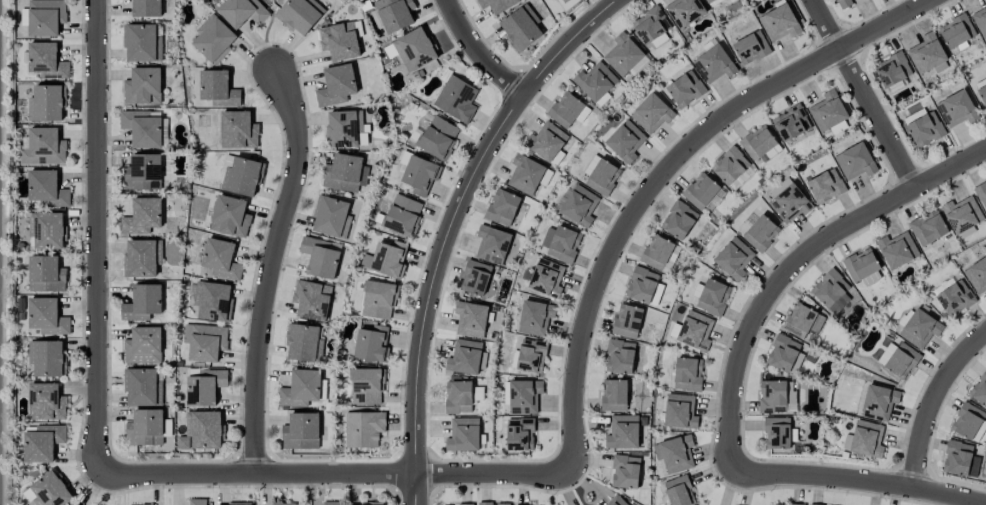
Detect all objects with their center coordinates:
building: (565, 1)
building: (709, 1)
building: (985, 1)
building: (844, 3)
building: (497, 5)
building: (146, 8)
building: (242, 12)
building: (684, 12)
building: (300, 14)
building: (394, 14)
building: (45, 17)
building: (980, 21)
building: (779, 23)
building: (652, 27)
building: (522, 28)
building: (956, 31)
building: (213, 39)
building: (339, 41)
building: (142, 43)
building: (751, 47)
building: (414, 50)
road: (479, 51)
building: (926, 53)
building: (623, 54)
building: (46, 61)
building: (714, 64)
building: (892, 69)
building: (595, 81)
building: (336, 85)
building: (143, 86)
building: (218, 89)
building: (685, 89)
road: (867, 94)
building: (982, 94)
building: (456, 99)
building: (47, 103)
building: (957, 109)
building: (567, 110)
building: (827, 111)
building: (651, 113)
building: (791, 123)
building: (924, 127)
building: (142, 128)
building: (344, 129)
building: (238, 130)
building: (438, 137)
building: (625, 141)
building: (758, 142)
building: (547, 143)
building: (43, 147)
building: (404, 161)
building: (855, 162)
building: (730, 166)
road: (663, 172)
building: (143, 173)
building: (344, 173)
building: (525, 174)
building: (420, 175)
building: (601, 175)
building: (242, 177)
building: (825, 186)
building: (46, 189)
building: (700, 191)
building: (981, 194)
building: (790, 204)
building: (579, 206)
building: (502, 207)
building: (402, 215)
building: (962, 215)
building: (142, 216)
building: (230, 216)
building: (331, 217)
building: (678, 220)
road: (452, 224)
building: (928, 228)
building: (46, 230)
building: (760, 233)
road: (97, 236)
building: (560, 243)
building: (492, 244)
building: (897, 250)
building: (656, 252)
building: (320, 257)
building: (142, 258)
building: (733, 258)
building: (387, 259)
building: (220, 260)
road: (795, 265)
building: (861, 265)
road: (272, 268)
building: (46, 274)
building: (977, 275)
building: (475, 278)
building: (546, 278)
building: (945, 285)
building: (643, 286)
building: (831, 291)
building: (713, 297)
building: (955, 299)
building: (311, 300)
building: (378, 300)
building: (213, 301)
building: (142, 303)
building: (46, 317)
building: (535, 317)
building: (470, 319)
building: (627, 321)
building: (802, 321)
building: (920, 328)
building: (695, 331)
building: (205, 342)
building: (304, 343)
building: (372, 344)
building: (143, 345)
building: (783, 353)
building: (531, 356)
building: (466, 357)
building: (619, 357)
building: (46, 358)
building: (898, 359)
building: (687, 374)
building: (204, 386)
building: (366, 386)
building: (142, 387)
building: (300, 389)
building: (979, 390)
building: (614, 395)
building: (524, 396)
building: (458, 397)
building: (772, 397)
building: (46, 402)
building: (879, 402)
road: (934, 403)
building: (680, 411)
building: (967, 421)
building: (145, 428)
building: (363, 429)
building: (201, 431)
building: (301, 431)
building: (623, 432)
building: (777, 432)
building: (519, 434)
building: (463, 435)
building: (867, 439)
building: (43, 443)
building: (675, 453)
building: (960, 459)
building: (625, 472)
road: (337, 473)
road: (860, 480)
building: (50, 491)
building: (679, 491)
building: (616, 501)
building: (197, 502)
building: (282, 503)
building: (331, 503)
building: (238, 504)
building: (364, 504)
building: (454, 504)
building: (494, 504)
building: (598, 504)
building: (782, 504)

